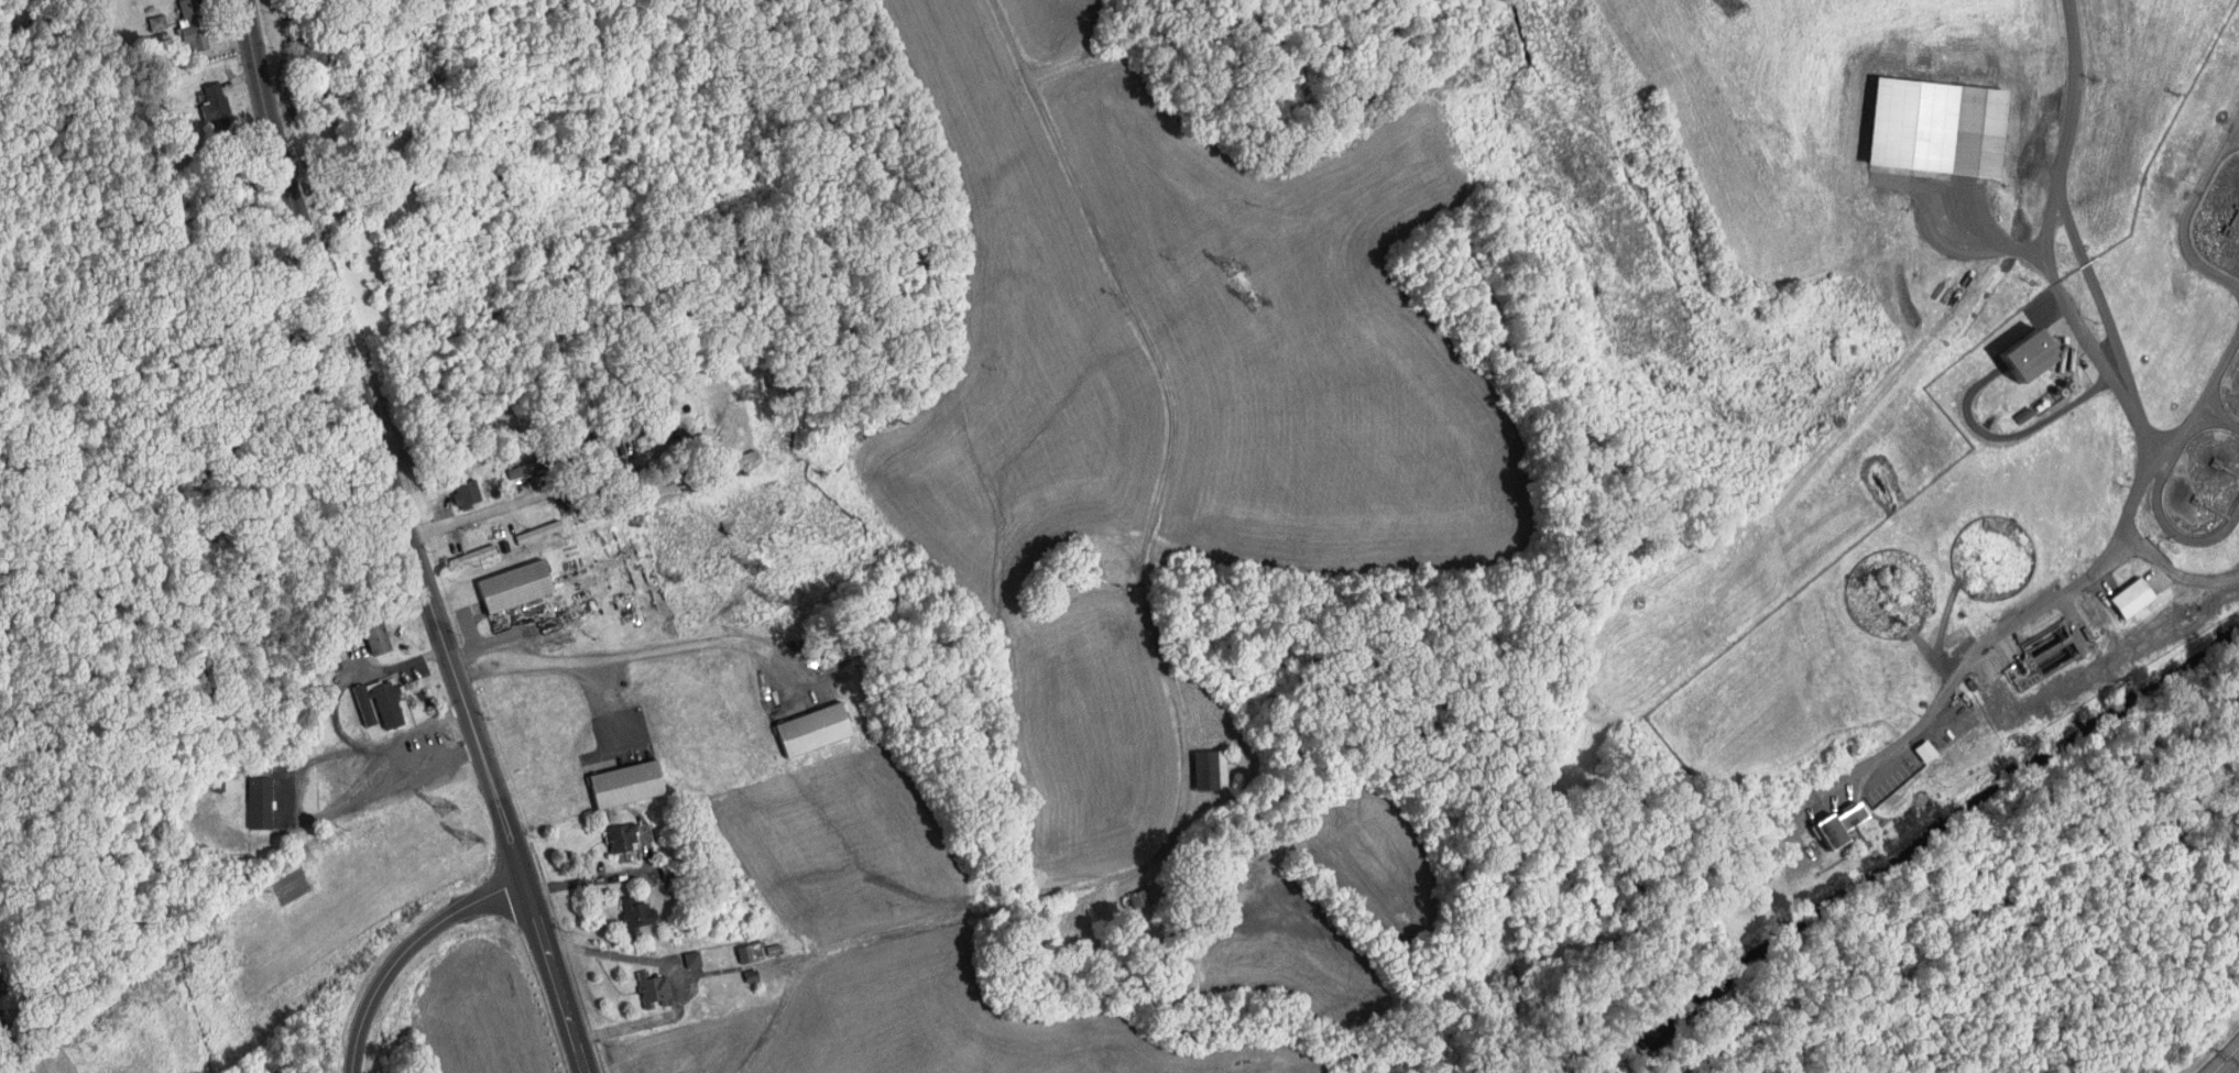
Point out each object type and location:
power tower: (1732, 3)
building: (192, 22)
road: (2074, 94)
building: (215, 102)
building: (1924, 125)
road: (1031, 151)
road: (1934, 202)
power tower: (1231, 267)
road: (2098, 299)
power tower: (1254, 303)
building: (2012, 354)
road: (2096, 360)
road: (2008, 437)
building: (543, 462)
road: (558, 488)
building: (469, 493)
building: (540, 532)
road: (407, 537)
power tower: (755, 568)
road: (2174, 570)
building: (518, 585)
building: (2123, 599)
power tower: (773, 604)
building: (534, 605)
building: (379, 638)
road: (627, 656)
road: (1963, 659)
road: (352, 676)
road: (611, 701)
building: (380, 703)
building: (818, 729)
building: (1213, 769)
building: (625, 784)
road: (287, 801)
building: (261, 802)
power tower: (443, 809)
building: (1827, 825)
building: (624, 837)
power tower: (468, 841)
road: (615, 879)
building: (638, 912)
building: (775, 949)
road: (405, 951)
building: (750, 953)
building: (695, 959)
road: (678, 974)
building: (753, 975)
building: (657, 988)
road: (2233, 1067)

